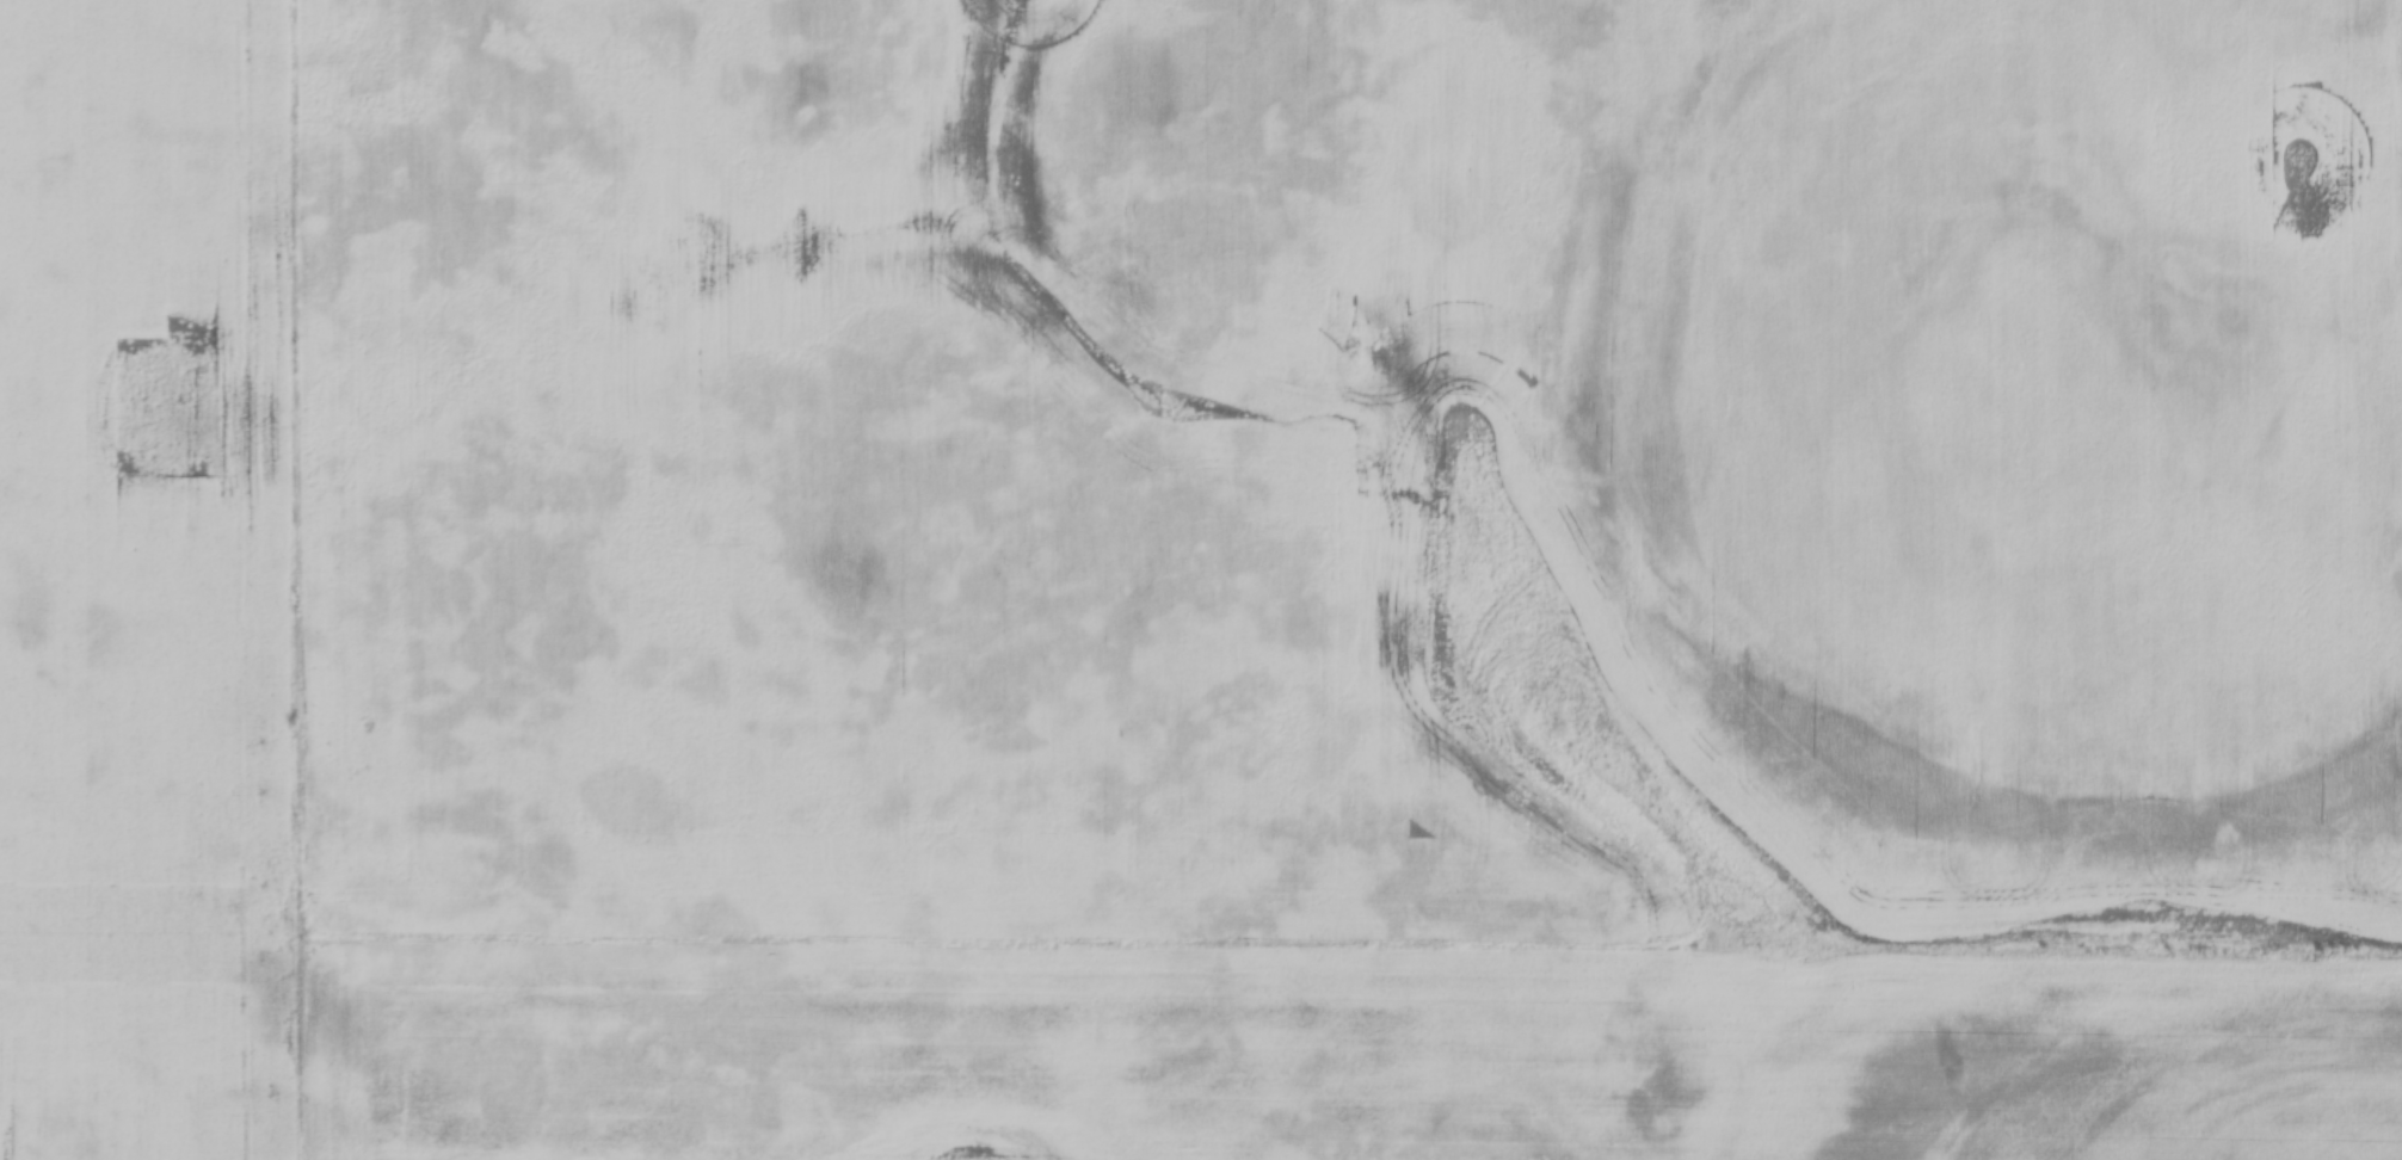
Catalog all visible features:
crop: (1349, 579)
crop: (149, 582)

